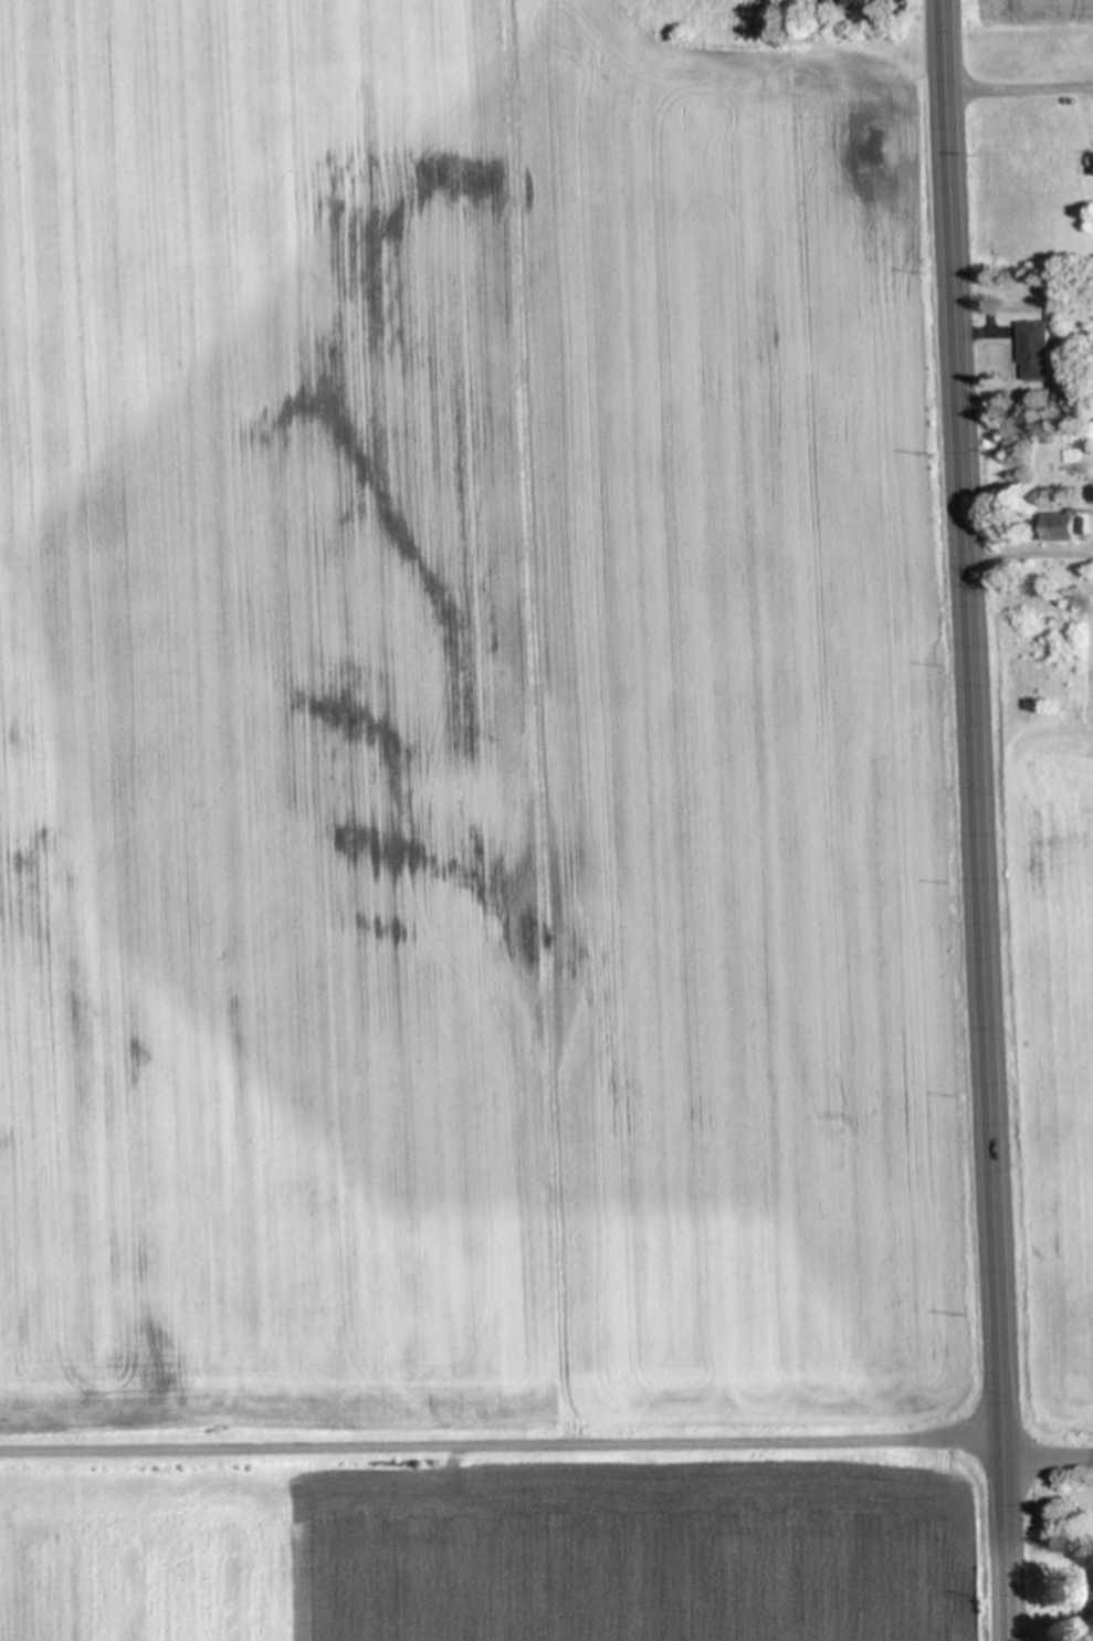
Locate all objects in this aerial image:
building: (865, 9)
building: (1036, 348)
building: (1068, 525)
road: (979, 820)
road: (546, 1444)

